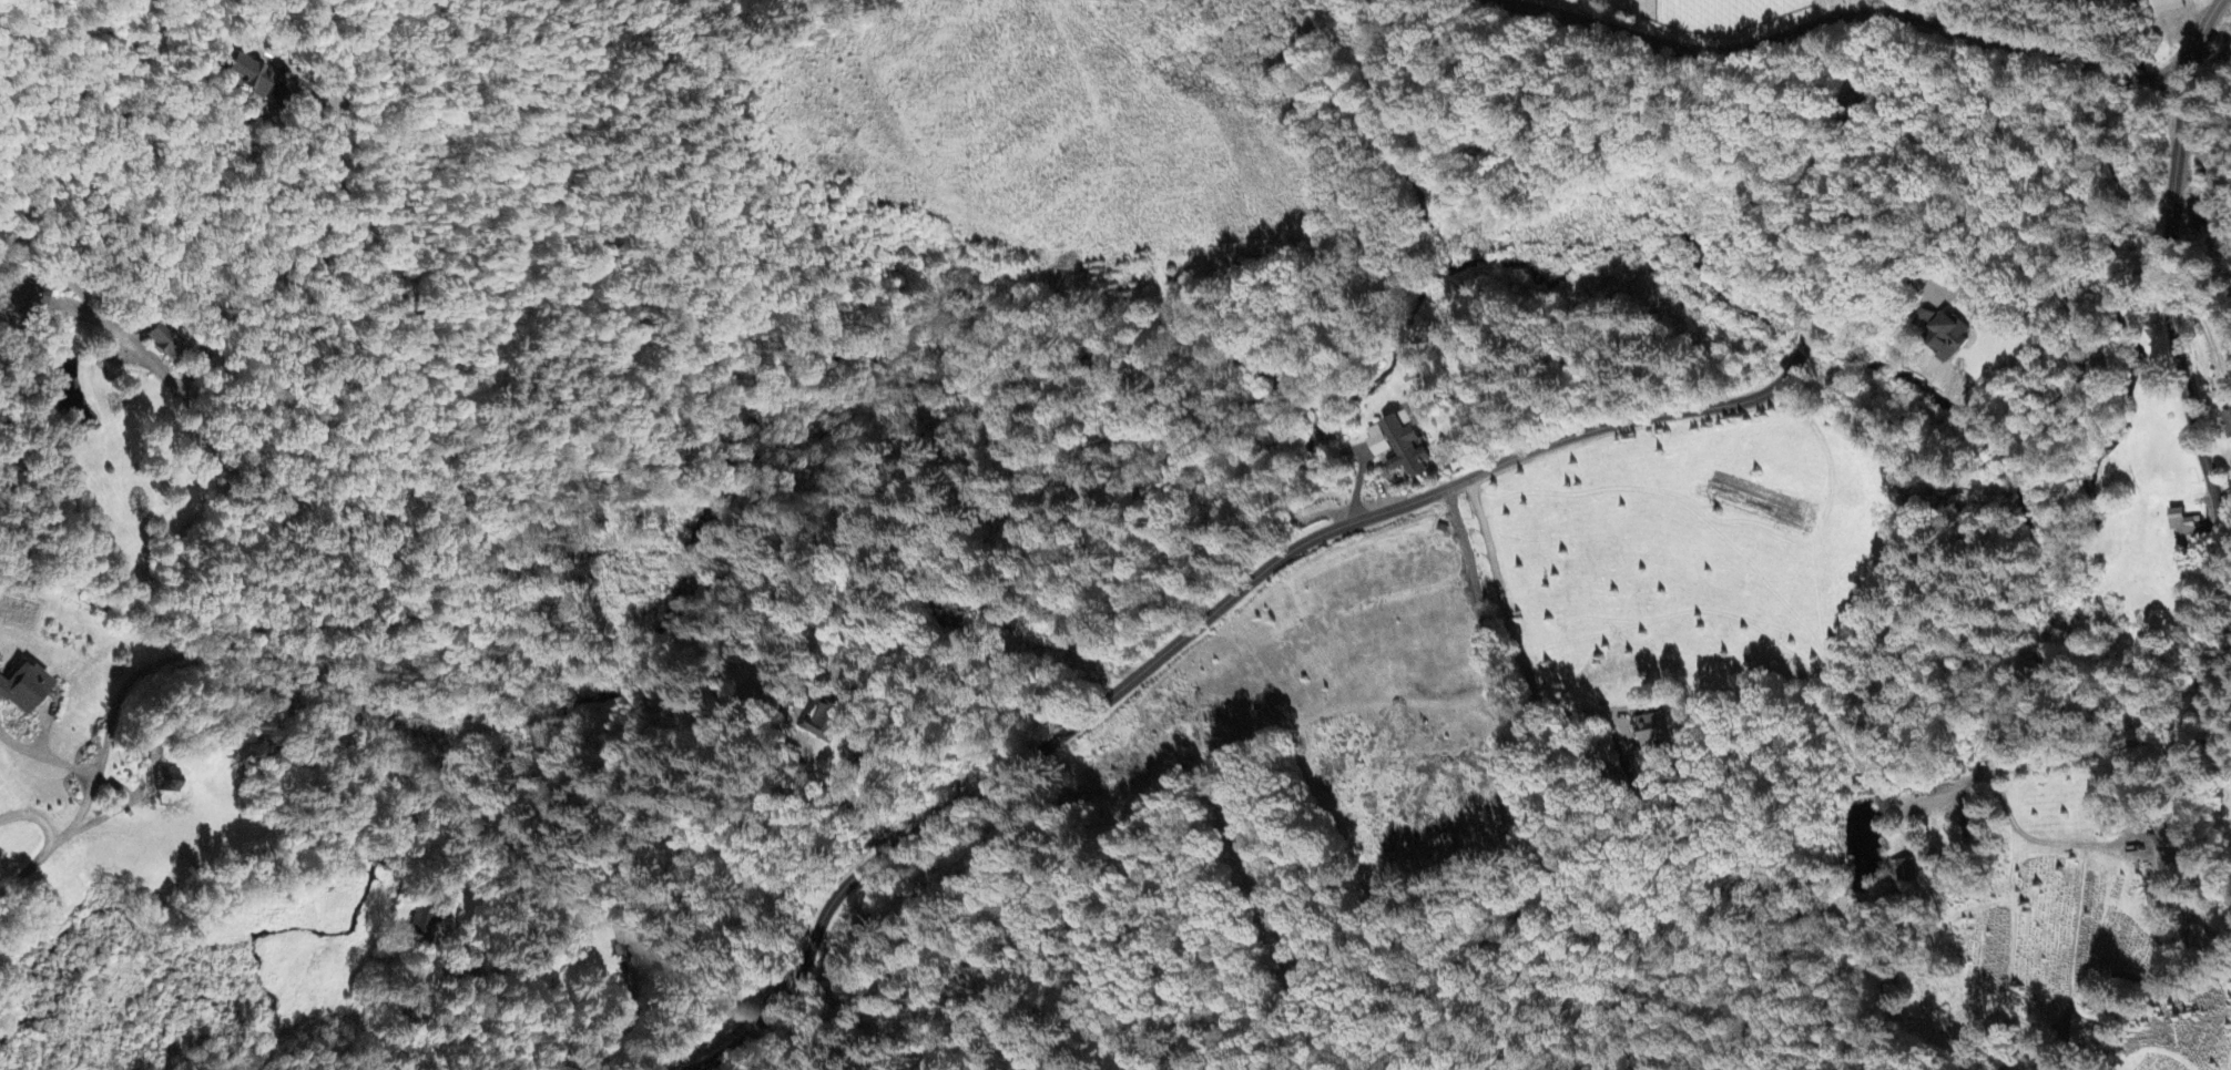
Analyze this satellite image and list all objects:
road: (1892, 7)
building: (2164, 7)
road: (1665, 23)
road: (1792, 38)
road: (2141, 78)
building: (257, 82)
road: (2209, 187)
building: (19, 299)
building: (1942, 336)
building: (165, 344)
building: (1396, 447)
road: (2196, 451)
road: (1313, 526)
building: (2183, 527)
road: (496, 560)
road: (1509, 628)
building: (18, 691)
building: (818, 720)
building: (1649, 732)
building: (164, 783)
road: (2009, 821)
road: (45, 836)
building: (1903, 874)
building: (424, 925)

